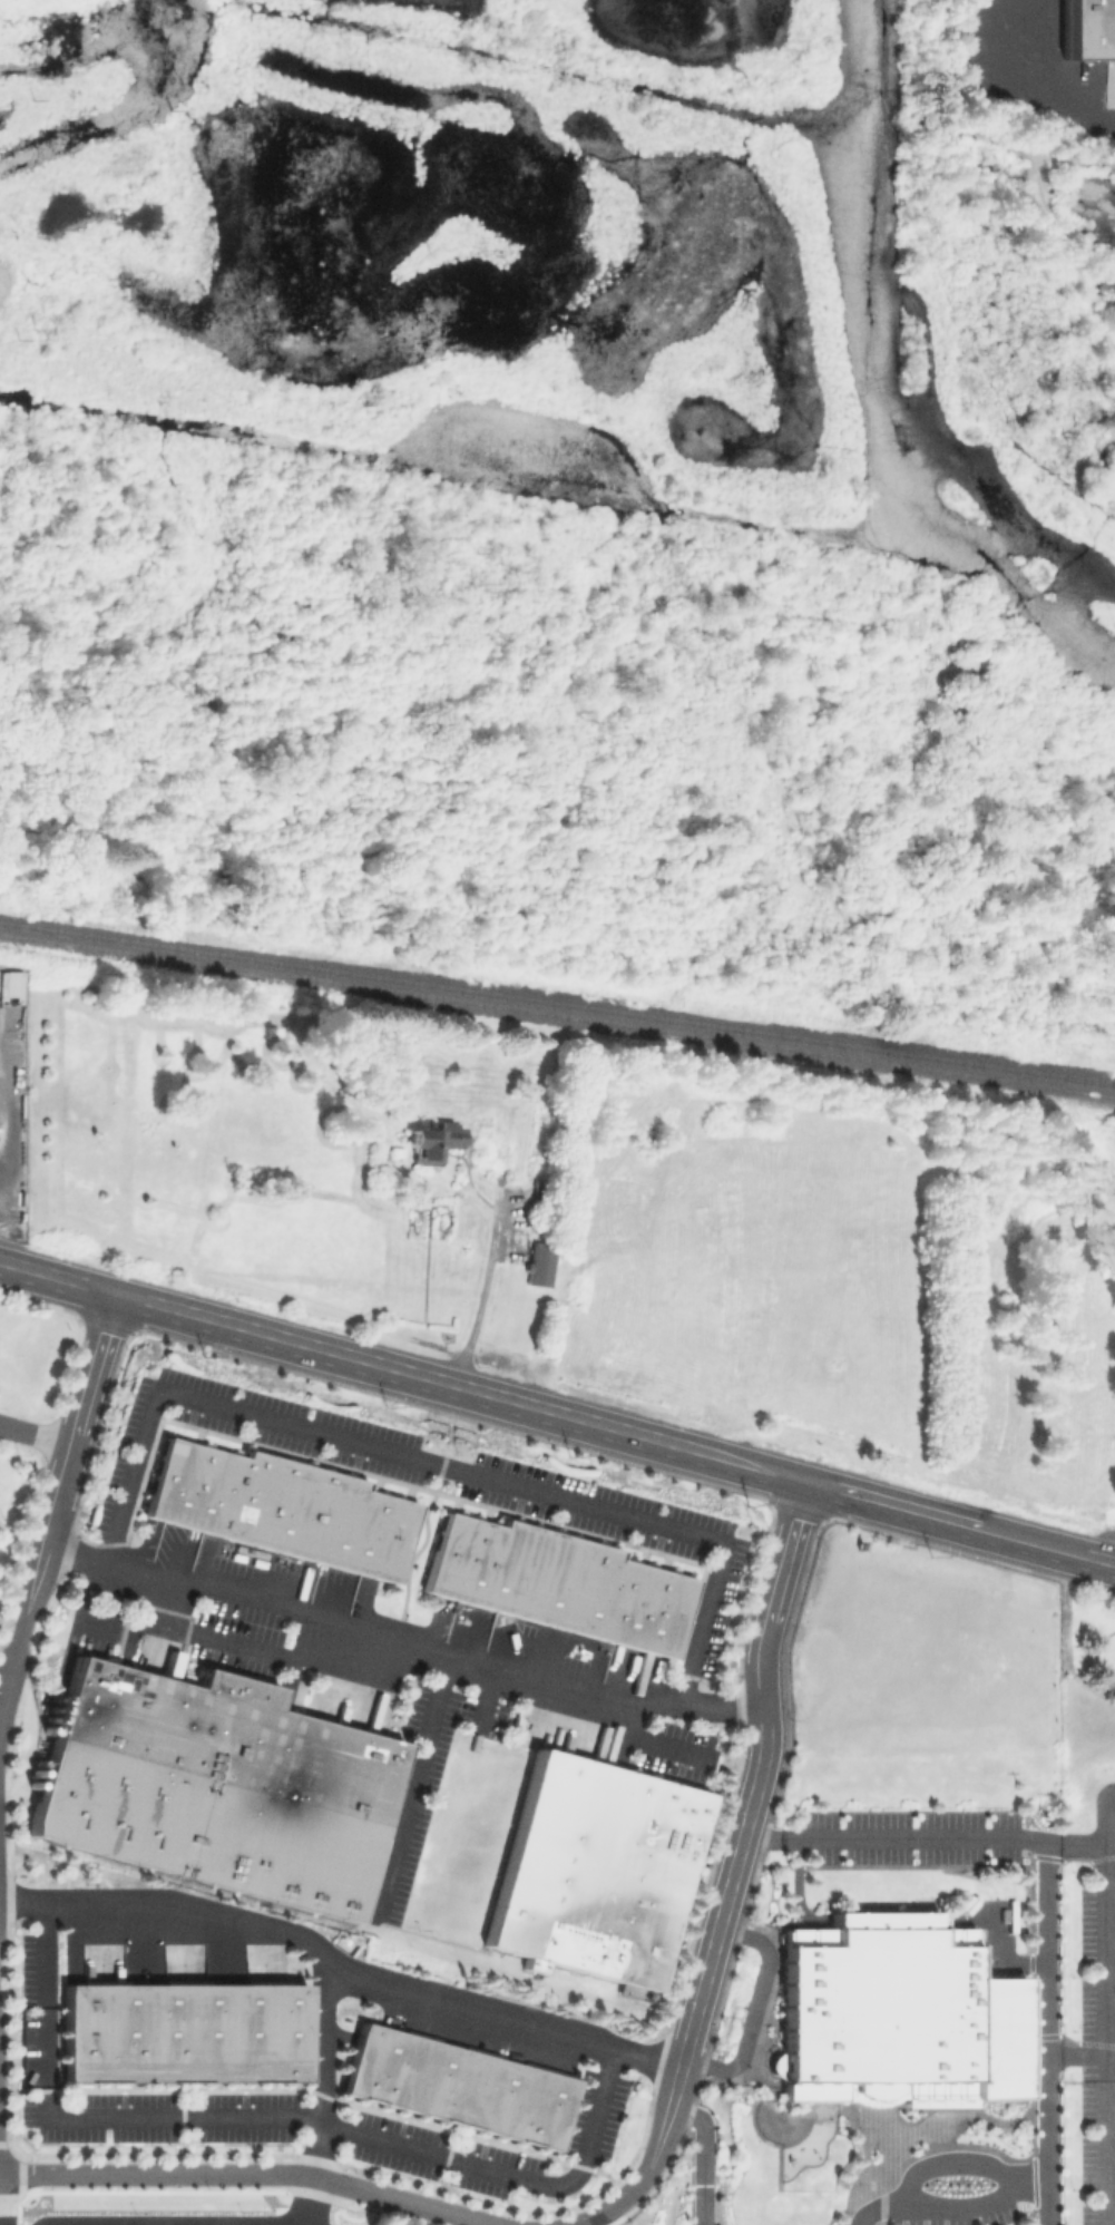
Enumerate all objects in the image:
building: (1092, 36)
road: (1048, 84)
road: (943, 106)
road: (1073, 162)
road: (1057, 227)
railway: (557, 1001)
railway: (557, 1013)
building: (436, 1146)
building: (496, 1153)
park: (313, 1161)
building: (544, 1265)
road: (478, 1300)
road: (346, 1354)
road: (37, 1434)
road: (71, 1455)
road: (434, 1462)
road: (751, 1463)
road: (896, 1502)
building: (277, 1505)
road: (424, 1515)
road: (1035, 1541)
road: (1102, 1559)
building: (555, 1581)
road: (401, 1647)
road: (1095, 1653)
road: (13, 1667)
building: (50, 1719)
road: (761, 1775)
building: (212, 1785)
road: (419, 1788)
road: (1103, 1839)
road: (1108, 1842)
building: (594, 1868)
road: (1049, 1880)
road: (1109, 1896)
road: (1109, 1946)
road: (1105, 1961)
road: (341, 1969)
road: (1111, 2003)
road: (755, 2008)
building: (896, 2012)
parking lot: (1088, 2019)
building: (183, 2032)
road: (1083, 2053)
road: (324, 2068)
building: (456, 2086)
road: (1111, 2109)
road: (671, 2118)
road: (275, 2119)
road: (1107, 2153)
road: (707, 2157)
road: (955, 2159)
road: (1111, 2159)
road: (252, 2174)
building: (146, 2197)
road: (319, 2202)
road: (619, 2202)
road: (956, 2209)
road: (1111, 2216)

